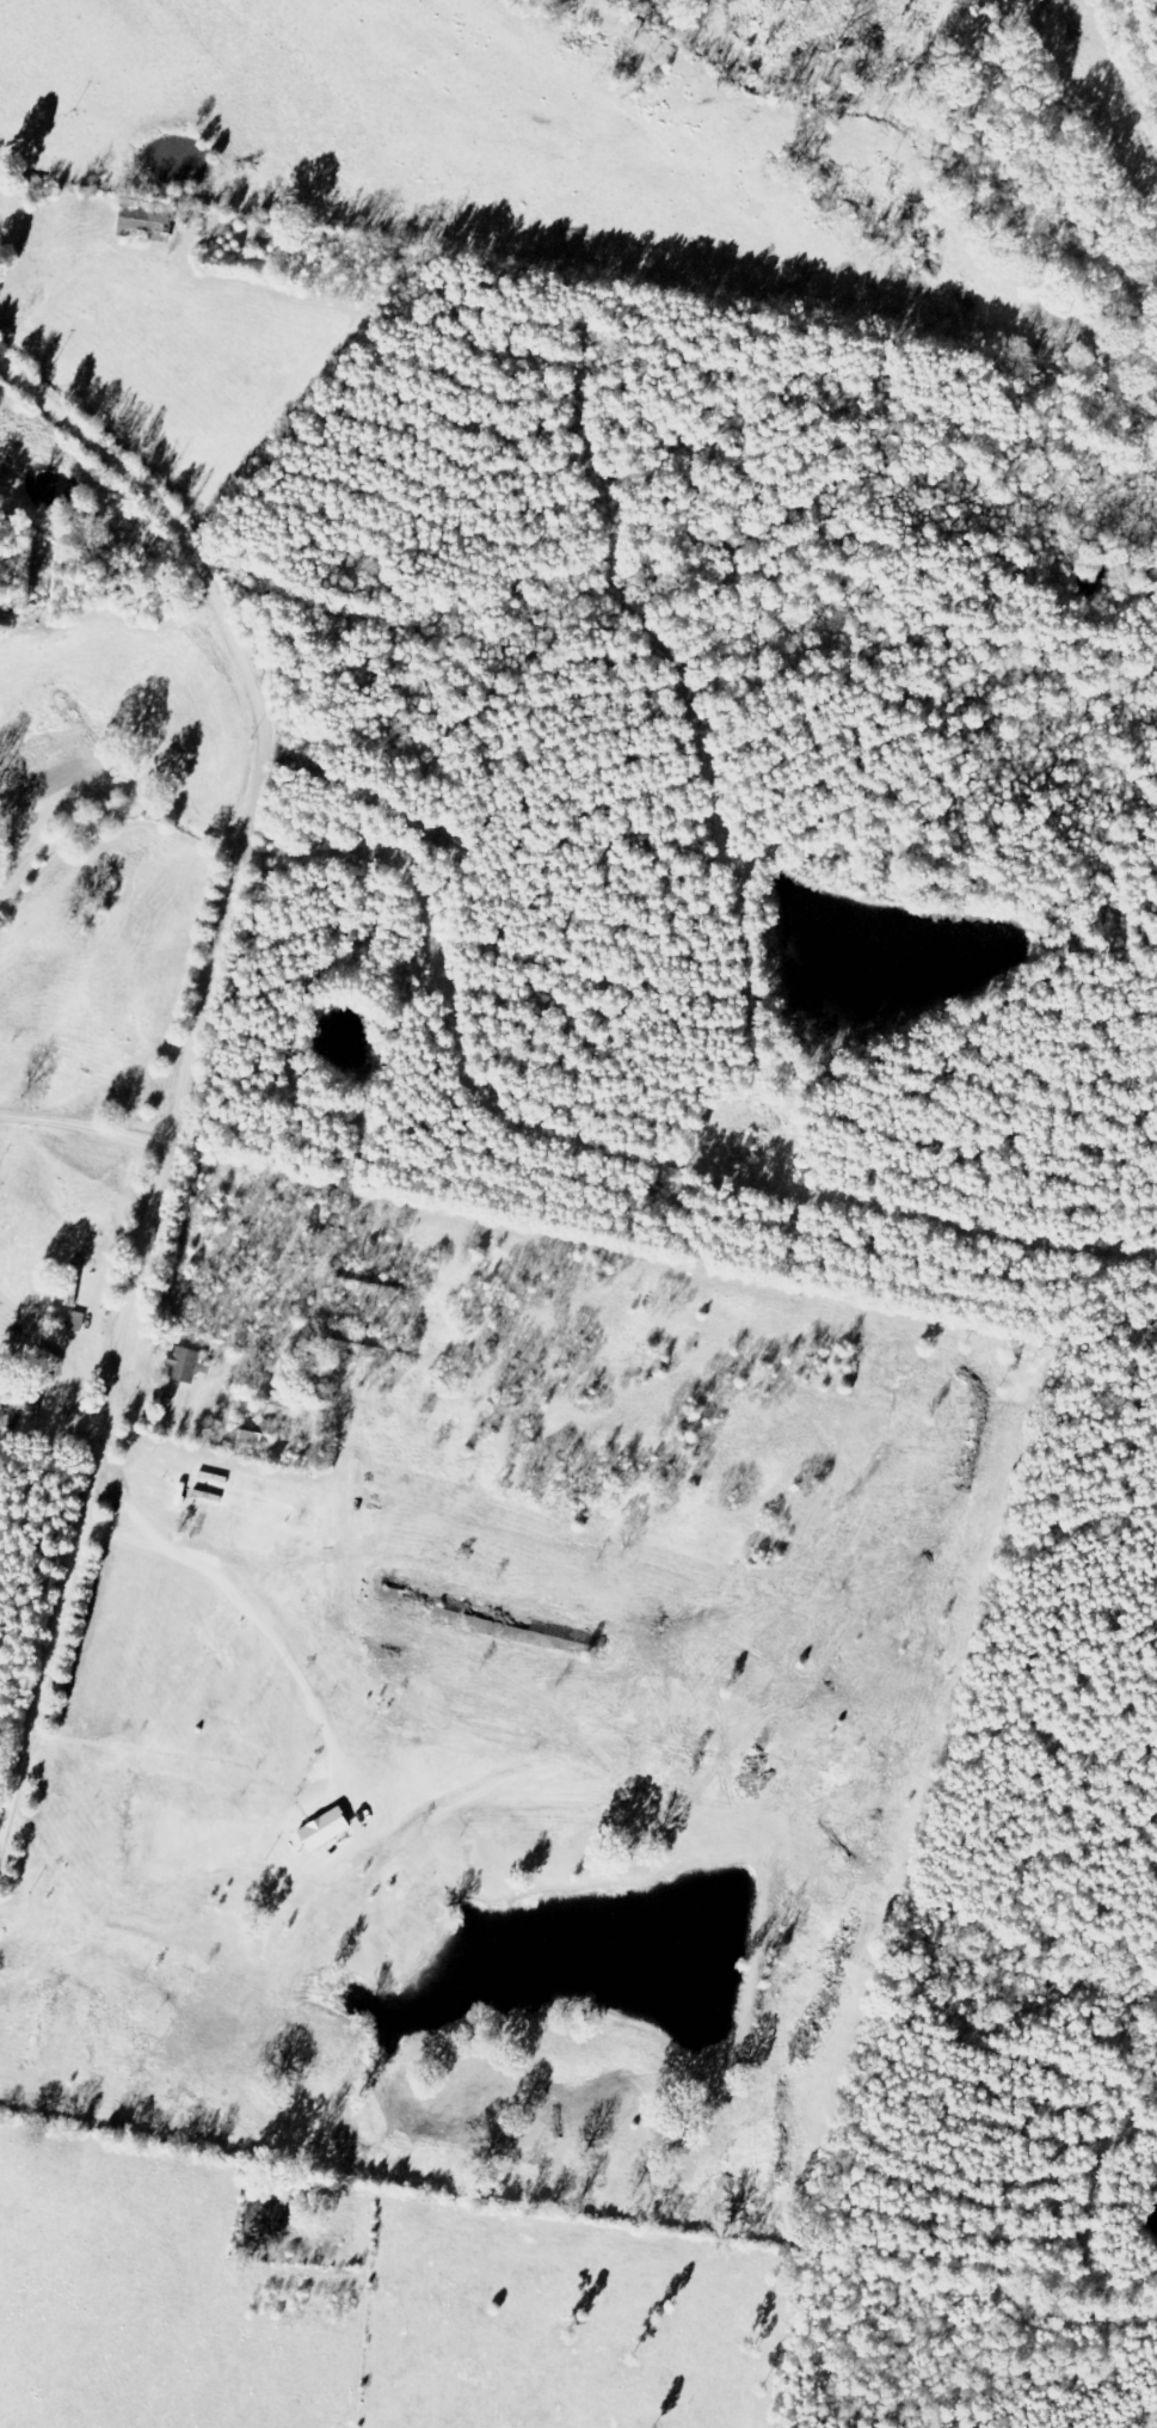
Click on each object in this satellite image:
road: (202, 1102)
building: (187, 1366)
road: (16, 1801)

